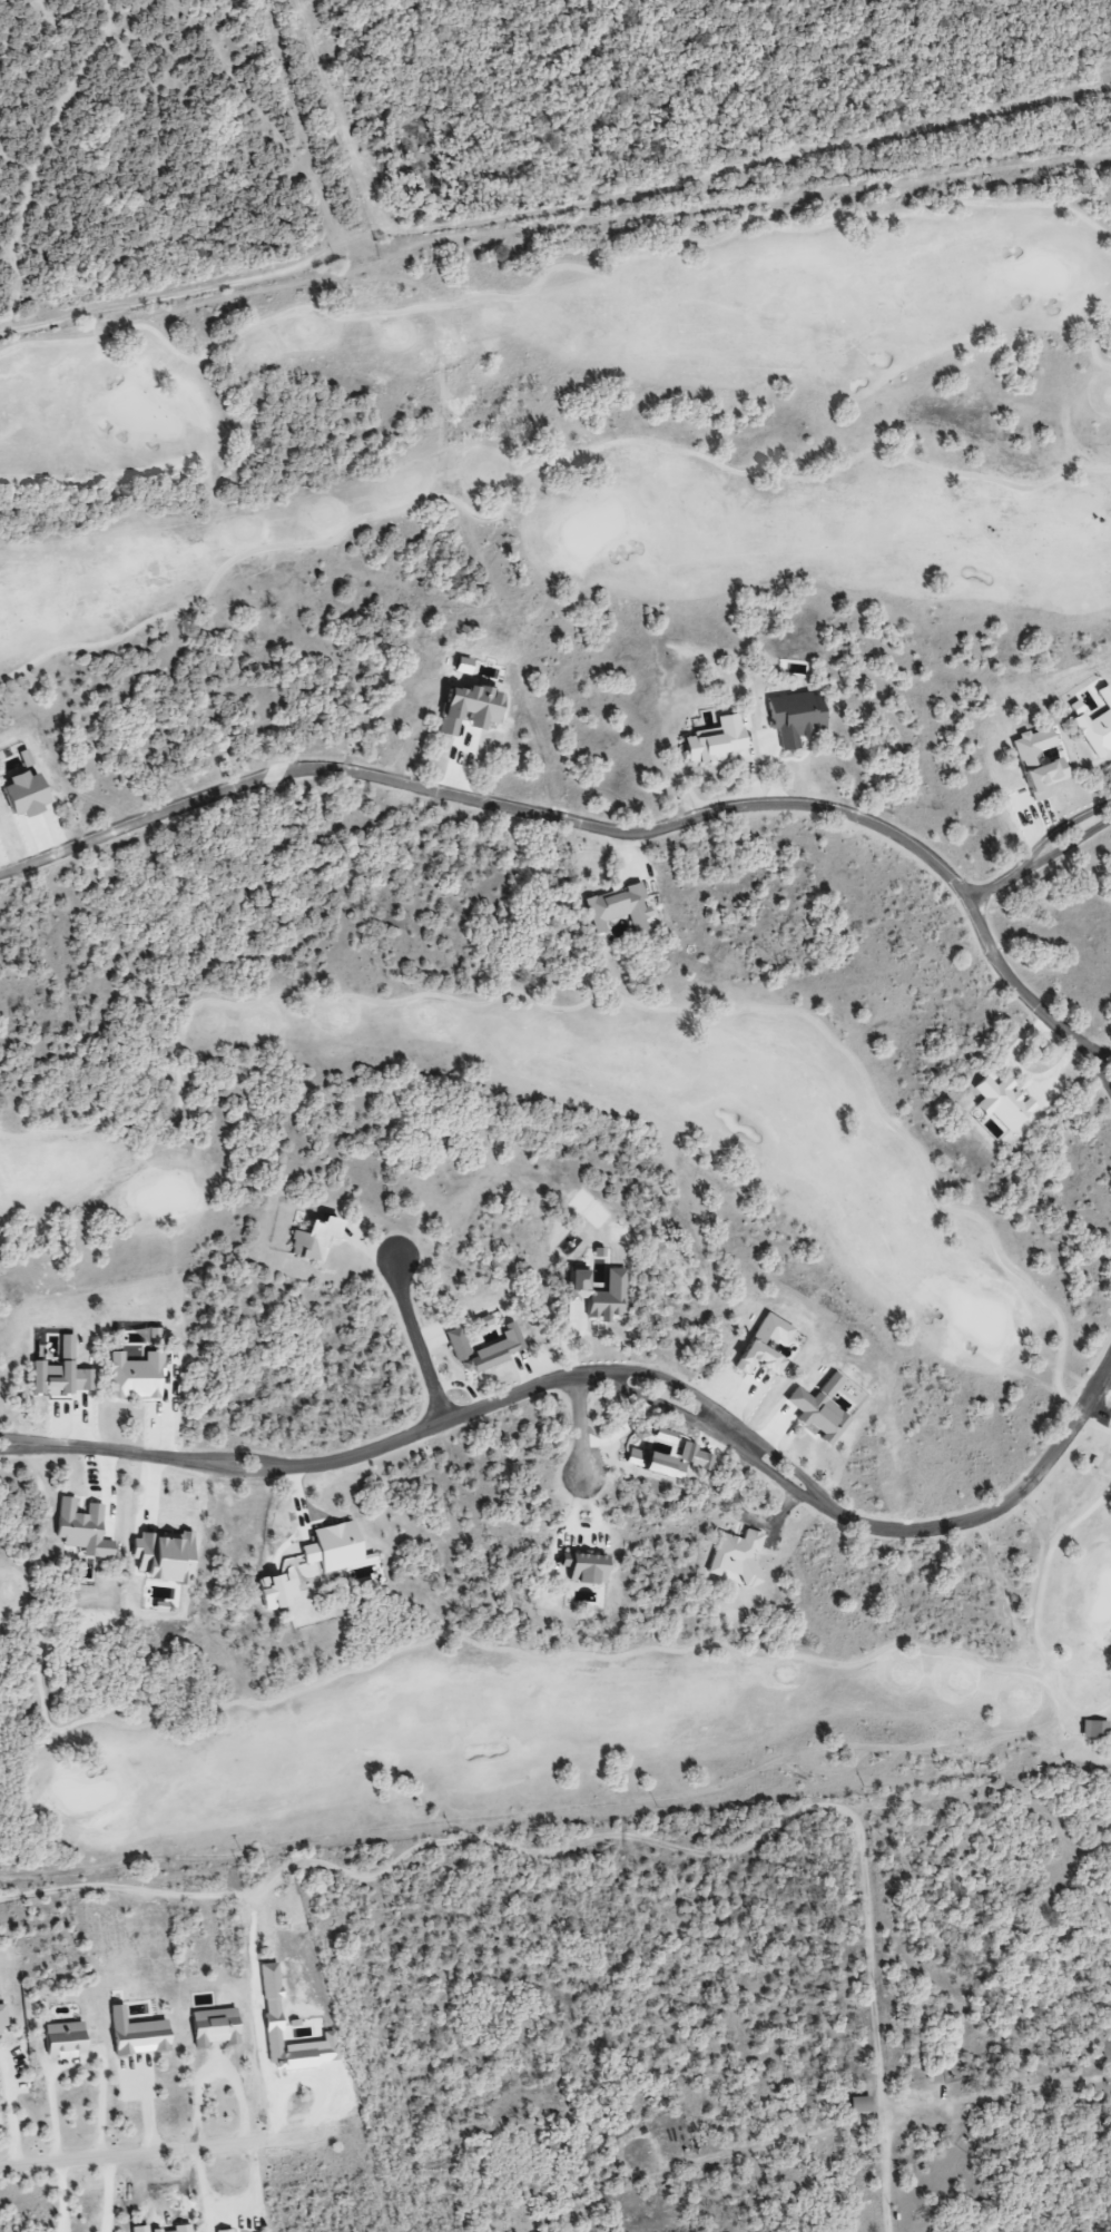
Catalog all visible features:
road: (554, 208)
road: (548, 269)
road: (1093, 344)
road: (528, 469)
building: (794, 717)
road: (596, 825)
road: (1060, 828)
road: (1066, 845)
road: (994, 885)
road: (625, 997)
park: (559, 1021)
road: (1107, 1054)
road: (1102, 1073)
road: (417, 1340)
road: (726, 1414)
road: (582, 1429)
road: (717, 1434)
road: (315, 1465)
road: (996, 1508)
road: (1036, 1612)
road: (474, 1642)
road: (1068, 1652)
building: (1093, 1730)
building: (62, 2039)
building: (857, 2104)
road: (155, 2151)

